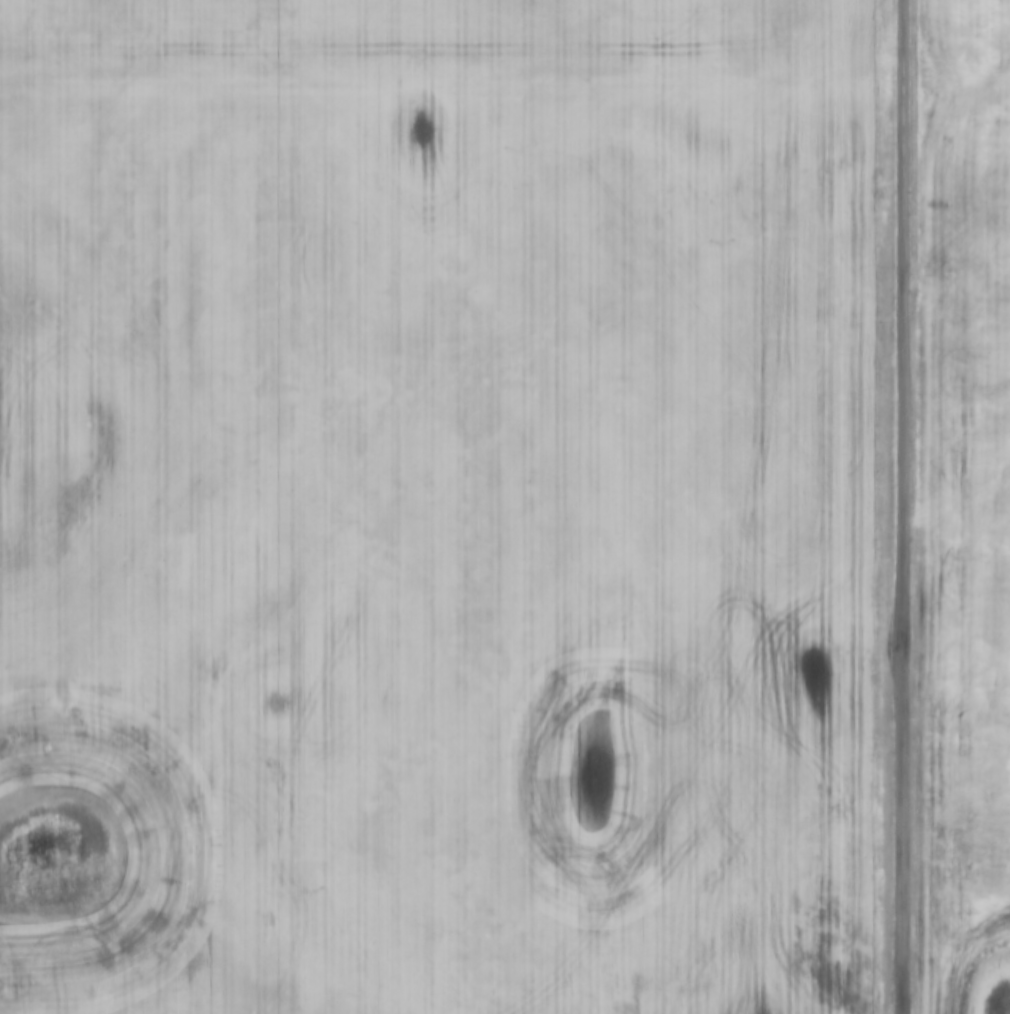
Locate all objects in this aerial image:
road: (902, 507)

